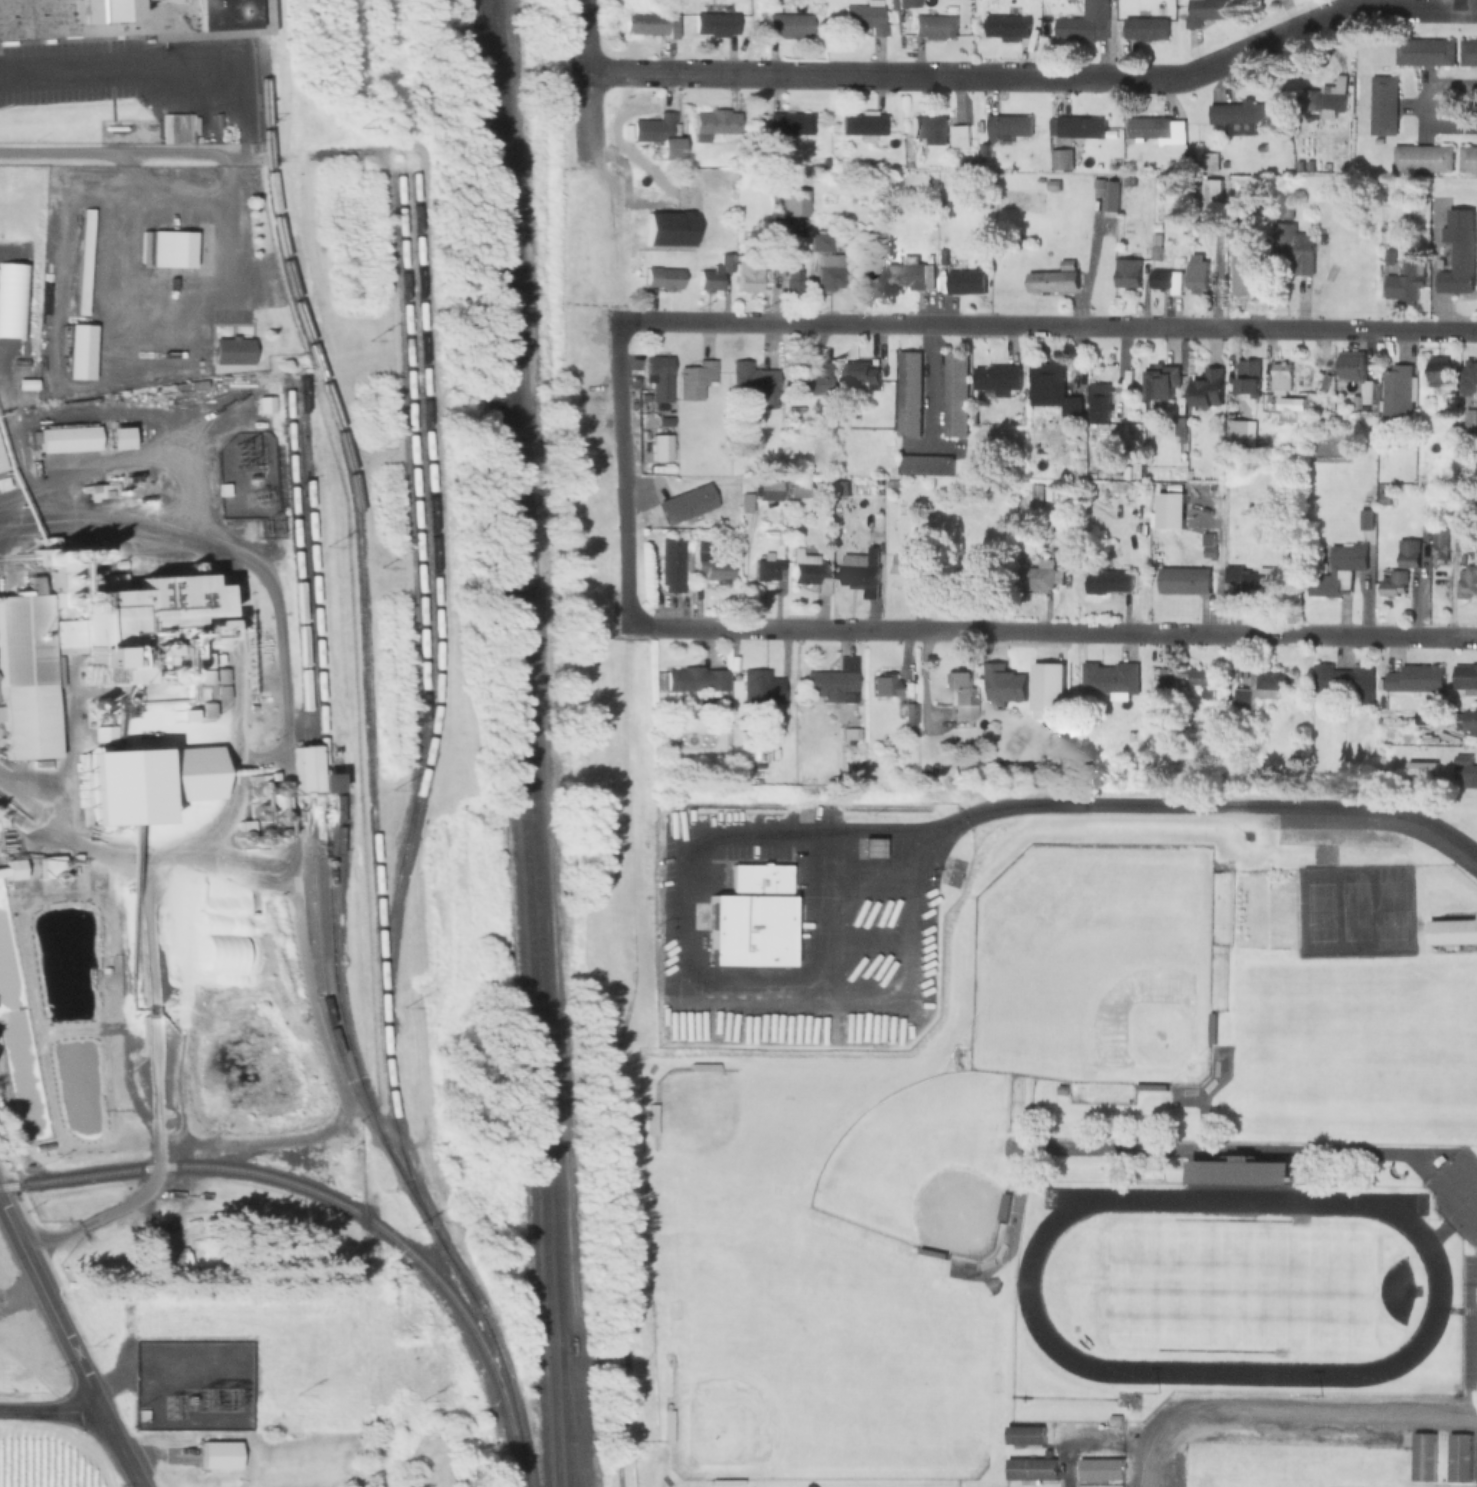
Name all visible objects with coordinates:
building: (907, 3)
building: (761, 10)
building: (1205, 11)
building: (867, 16)
railway: (260, 17)
building: (132, 18)
building: (644, 23)
building: (1089, 23)
building: (715, 24)
building: (789, 24)
building: (934, 25)
building: (1008, 26)
building: (1145, 28)
building: (1423, 51)
building: (1468, 52)
road: (122, 71)
road: (1037, 78)
road: (584, 86)
building: (1326, 97)
road: (1414, 103)
building: (1383, 104)
building: (1240, 116)
building: (789, 123)
building: (863, 124)
building: (715, 126)
building: (1007, 126)
building: (1081, 126)
building: (928, 127)
building: (1157, 130)
building: (657, 133)
building: (959, 135)
building: (1191, 138)
building: (1378, 140)
building: (1260, 146)
road: (60, 155)
building: (1061, 158)
building: (1421, 158)
building: (1467, 159)
building: (835, 163)
building: (1308, 164)
building: (1298, 165)
building: (1053, 184)
road: (230, 192)
building: (1214, 192)
building: (1111, 198)
building: (821, 240)
building: (1294, 247)
building: (171, 248)
building: (1458, 252)
building: (83, 260)
building: (713, 272)
building: (906, 272)
building: (1128, 272)
building: (1243, 273)
building: (1197, 275)
building: (662, 276)
building: (748, 276)
building: (828, 277)
building: (1055, 278)
building: (961, 279)
building: (1162, 279)
building: (1404, 281)
building: (792, 282)
road: (1046, 324)
building: (78, 350)
building: (231, 350)
building: (1351, 365)
building: (859, 371)
building: (1437, 371)
building: (1047, 373)
building: (1280, 376)
building: (658, 377)
building: (813, 378)
building: (1467, 378)
building: (694, 379)
building: (996, 379)
building: (1247, 379)
building: (753, 381)
building: (1161, 382)
road: (931, 385)
building: (1208, 387)
building: (1396, 391)
building: (1366, 393)
building: (908, 394)
building: (956, 394)
building: (1099, 402)
building: (1354, 403)
building: (1291, 404)
building: (1051, 406)
building: (1476, 422)
building: (1179, 427)
building: (1242, 430)
building: (116, 437)
building: (67, 438)
building: (1, 463)
building: (923, 465)
road: (620, 474)
power substation: (245, 476)
building: (799, 487)
building: (768, 490)
building: (744, 502)
building: (685, 504)
railway: (414, 509)
building: (1456, 510)
building: (1366, 519)
building: (1438, 535)
road: (195, 540)
building: (1209, 545)
building: (1408, 552)
building: (1242, 554)
railway: (295, 558)
building: (670, 564)
building: (712, 567)
building: (1339, 568)
building: (808, 570)
building: (862, 570)
building: (769, 571)
building: (909, 572)
building: (1035, 577)
building: (1184, 579)
building: (1108, 581)
building: (1466, 581)
building: (1254, 582)
building: (1394, 584)
railway: (436, 608)
road: (1055, 631)
building: (82, 642)
building: (1465, 676)
building: (695, 678)
building: (1189, 678)
building: (1416, 678)
building: (832, 679)
building: (1110, 679)
building: (1341, 682)
building: (882, 683)
building: (760, 685)
building: (1260, 687)
building: (961, 695)
building: (1000, 695)
road: (234, 700)
building: (908, 711)
building: (1469, 722)
building: (849, 732)
railway: (518, 743)
railway: (528, 743)
building: (304, 767)
railway: (370, 768)
building: (1422, 768)
railway: (307, 769)
building: (1465, 770)
building: (161, 780)
railway: (321, 785)
road: (1203, 807)
building: (869, 847)
building: (12, 868)
park: (1354, 910)
park: (1355, 910)
park: (1390, 910)
road: (816, 911)
park: (1320, 912)
building: (749, 918)
building: (1453, 932)
park: (1094, 964)
road: (685, 982)
road: (149, 1005)
railway: (337, 1049)
road: (616, 1055)
park: (1422, 1065)
road: (1203, 1102)
park: (731, 1148)
road: (1174, 1150)
park: (926, 1164)
building: (1243, 1173)
stadium: (1243, 1173)
railway: (308, 1188)
building: (1004, 1207)
road: (94, 1214)
building: (166, 1259)
track: (1026, 1284)
park: (1240, 1290)
park: (810, 1304)
road: (51, 1308)
parking lot: (1469, 1323)
park: (783, 1369)
power substation: (191, 1385)
road: (1288, 1410)
road: (52, 1412)
railway: (567, 1417)
building: (1114, 1418)
building: (667, 1426)
parking lot: (1267, 1434)
building: (1025, 1435)
road: (123, 1450)
building: (217, 1455)
building: (1458, 1457)
building: (1416, 1458)
crop: (47, 1459)
building: (1031, 1468)
building: (1100, 1469)

